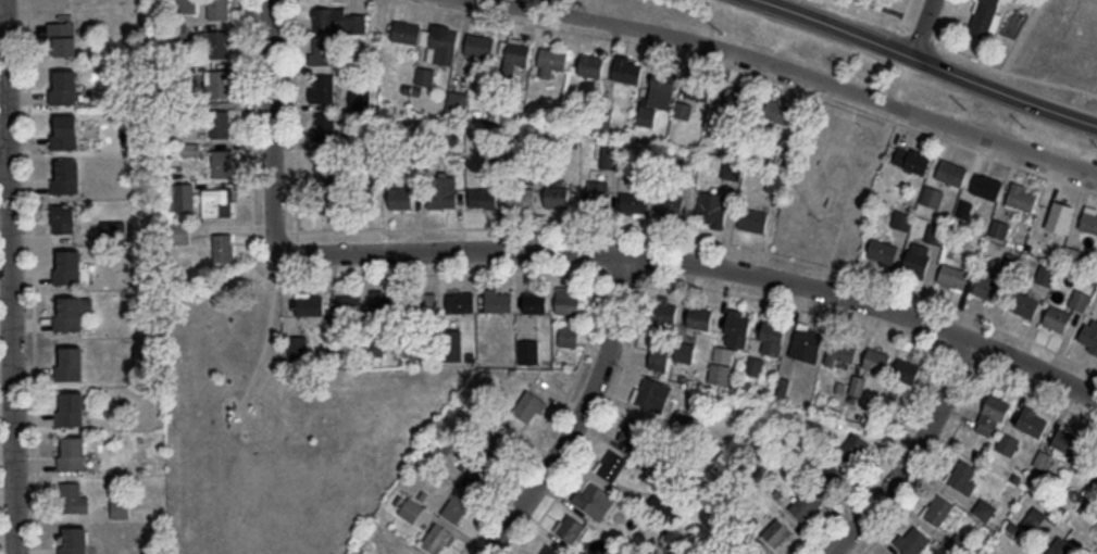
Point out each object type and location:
road: (9, 0)
road: (801, 5)
road: (907, 7)
building: (219, 9)
road: (893, 10)
building: (984, 17)
building: (339, 20)
road: (924, 27)
road: (922, 29)
road: (937, 36)
building: (63, 38)
building: (428, 38)
building: (217, 42)
building: (478, 45)
building: (322, 50)
building: (514, 54)
building: (551, 60)
road: (931, 61)
building: (591, 64)
road: (993, 67)
building: (627, 68)
road: (799, 68)
road: (755, 71)
building: (425, 75)
road: (906, 78)
building: (217, 83)
building: (63, 87)
building: (323, 87)
building: (699, 87)
building: (661, 90)
building: (359, 99)
building: (457, 100)
building: (732, 100)
building: (780, 111)
building: (647, 115)
building: (221, 123)
road: (295, 125)
building: (328, 125)
building: (64, 133)
building: (608, 155)
building: (918, 161)
building: (328, 165)
building: (224, 167)
building: (951, 172)
building: (65, 177)
park: (833, 184)
building: (986, 185)
building: (776, 187)
building: (441, 190)
building: (598, 191)
building: (557, 196)
building: (932, 196)
building: (178, 197)
building: (400, 197)
building: (483, 197)
building: (1022, 197)
building: (521, 198)
building: (217, 202)
building: (326, 203)
building: (634, 203)
building: (670, 205)
building: (711, 209)
building: (62, 217)
building: (752, 219)
building: (901, 219)
building: (1089, 219)
road: (385, 228)
building: (999, 228)
building: (935, 234)
building: (223, 247)
building: (882, 251)
road: (577, 253)
building: (1074, 255)
building: (918, 257)
road: (803, 260)
building: (67, 267)
road: (32, 273)
building: (1046, 274)
road: (13, 276)
road: (319, 276)
building: (952, 276)
building: (988, 286)
building: (498, 299)
building: (382, 300)
building: (423, 300)
building: (568, 300)
building: (1080, 300)
building: (460, 301)
building: (535, 302)
building: (309, 303)
building: (348, 304)
building: (1024, 304)
road: (805, 307)
building: (665, 309)
building: (68, 315)
building: (699, 316)
building: (1057, 317)
building: (568, 335)
building: (1089, 335)
road: (266, 336)
building: (771, 337)
building: (806, 342)
building: (730, 344)
building: (296, 345)
building: (375, 347)
building: (527, 350)
building: (684, 351)
building: (842, 352)
building: (659, 358)
building: (876, 360)
building: (70, 362)
building: (753, 365)
building: (906, 372)
building: (857, 385)
building: (651, 392)
road: (1035, 392)
building: (528, 406)
building: (71, 407)
road: (581, 413)
building: (993, 415)
building: (1032, 420)
road: (600, 426)
park: (279, 427)
building: (631, 431)
building: (1067, 442)
building: (1007, 443)
building: (497, 446)
road: (533, 449)
building: (72, 452)
road: (915, 453)
building: (847, 456)
road: (881, 459)
road: (931, 461)
building: (611, 464)
building: (963, 475)
building: (476, 477)
building: (72, 496)
building: (594, 499)
building: (803, 503)
building: (661, 505)
building: (986, 505)
building: (120, 506)
building: (456, 506)
building: (410, 509)
building: (937, 509)
building: (1034, 518)
building: (569, 527)
building: (777, 530)
building: (435, 538)
building: (74, 539)
building: (913, 540)
building: (959, 543)
building: (1060, 546)
building: (550, 550)
building: (755, 550)
road: (1095, 552)
building: (410, 553)
building: (412, 553)

